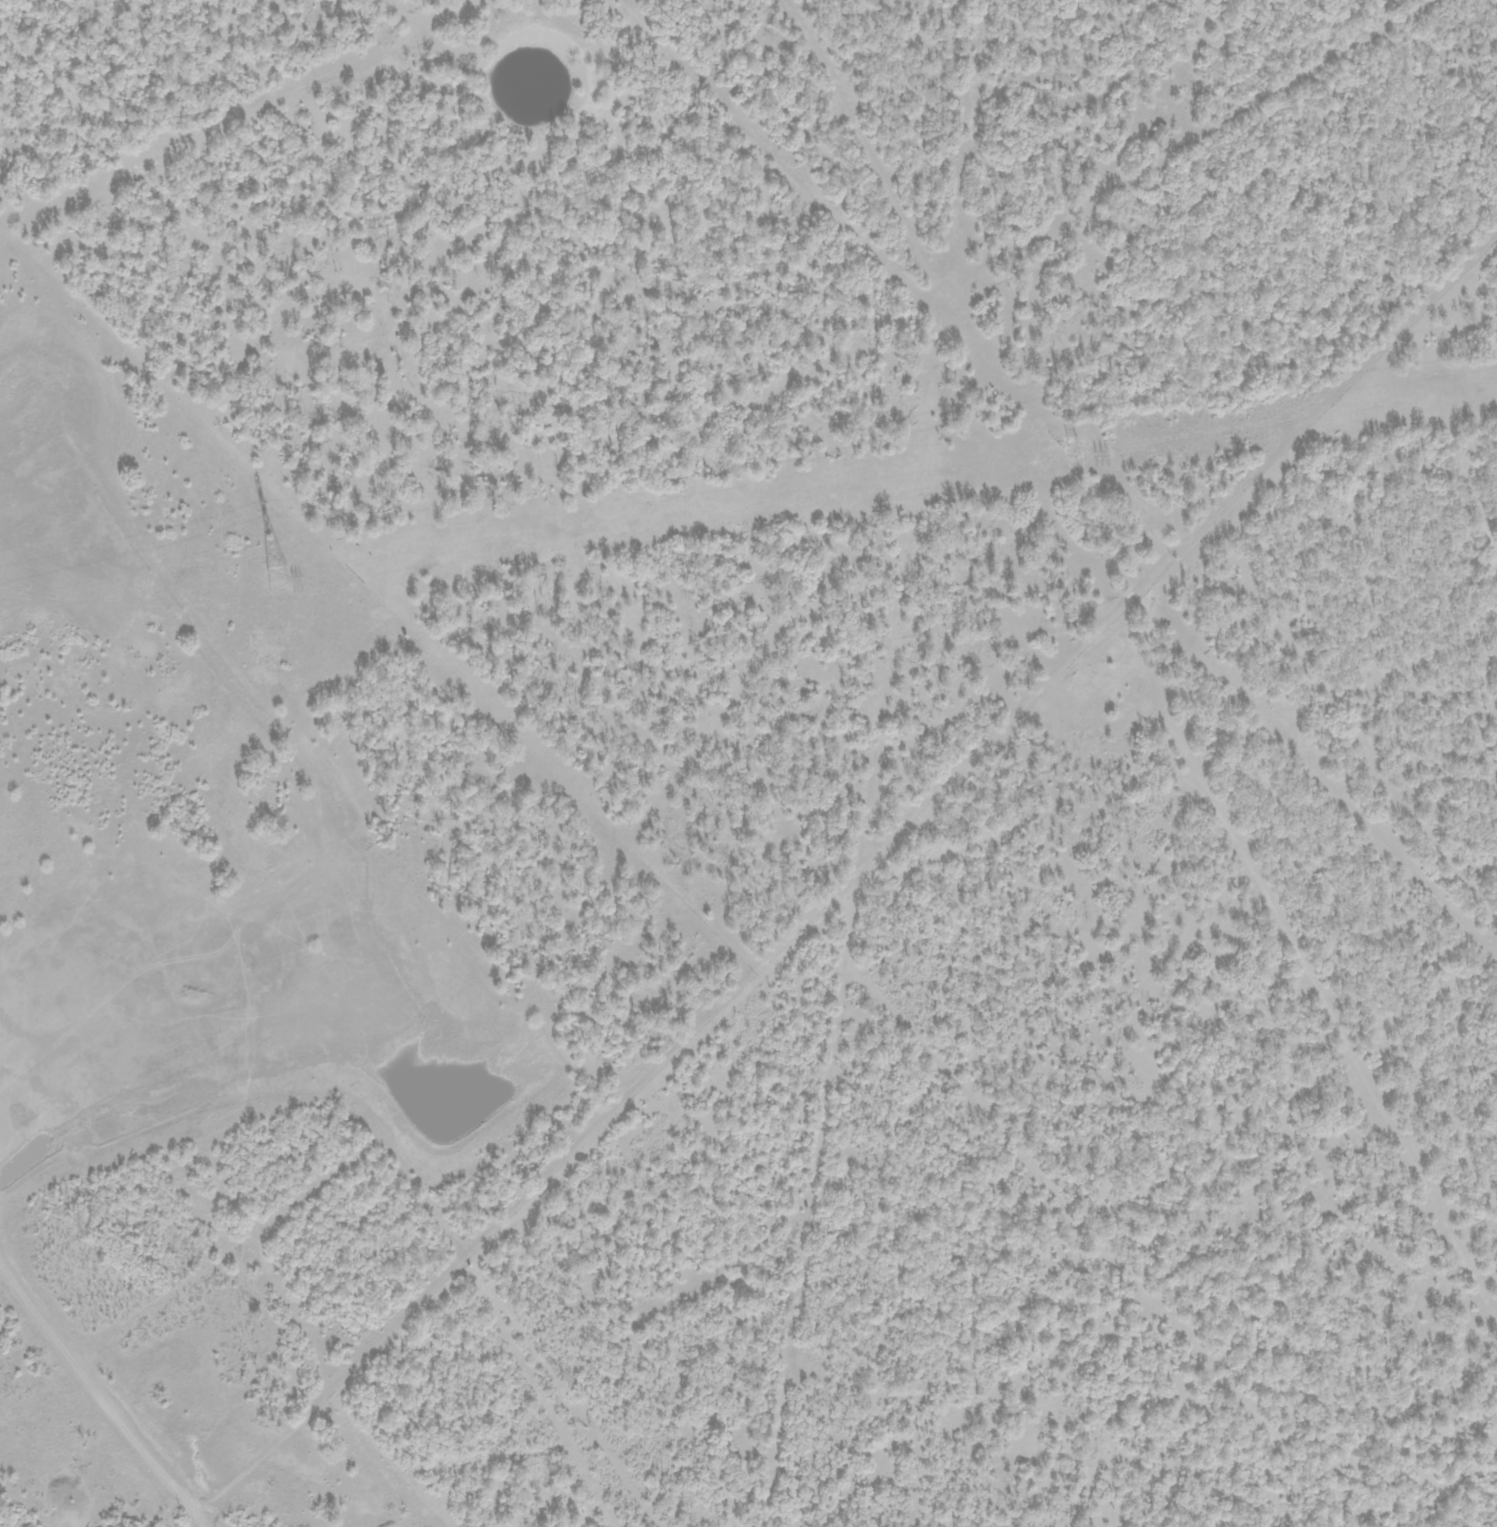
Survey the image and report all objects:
road: (13, 13)
power tower: (1072, 451)
power tower: (280, 578)

